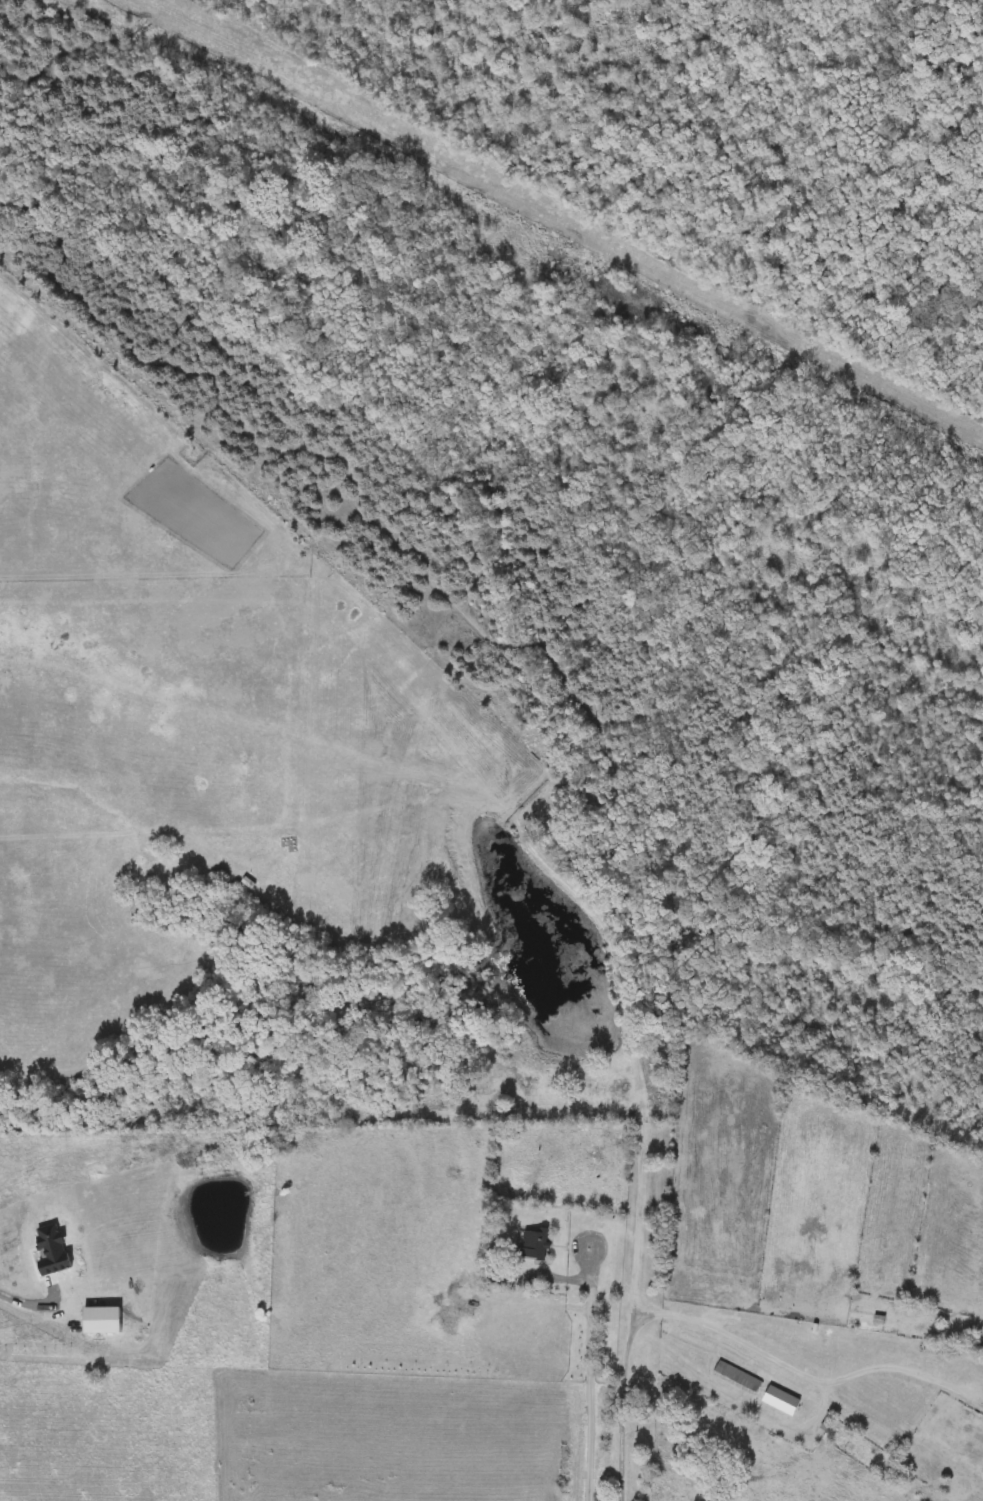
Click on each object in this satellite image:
building: (535, 1247)
road: (37, 1301)
road: (628, 1331)
road: (810, 1376)
building: (755, 1389)
road: (589, 1398)
building: (590, 1467)

